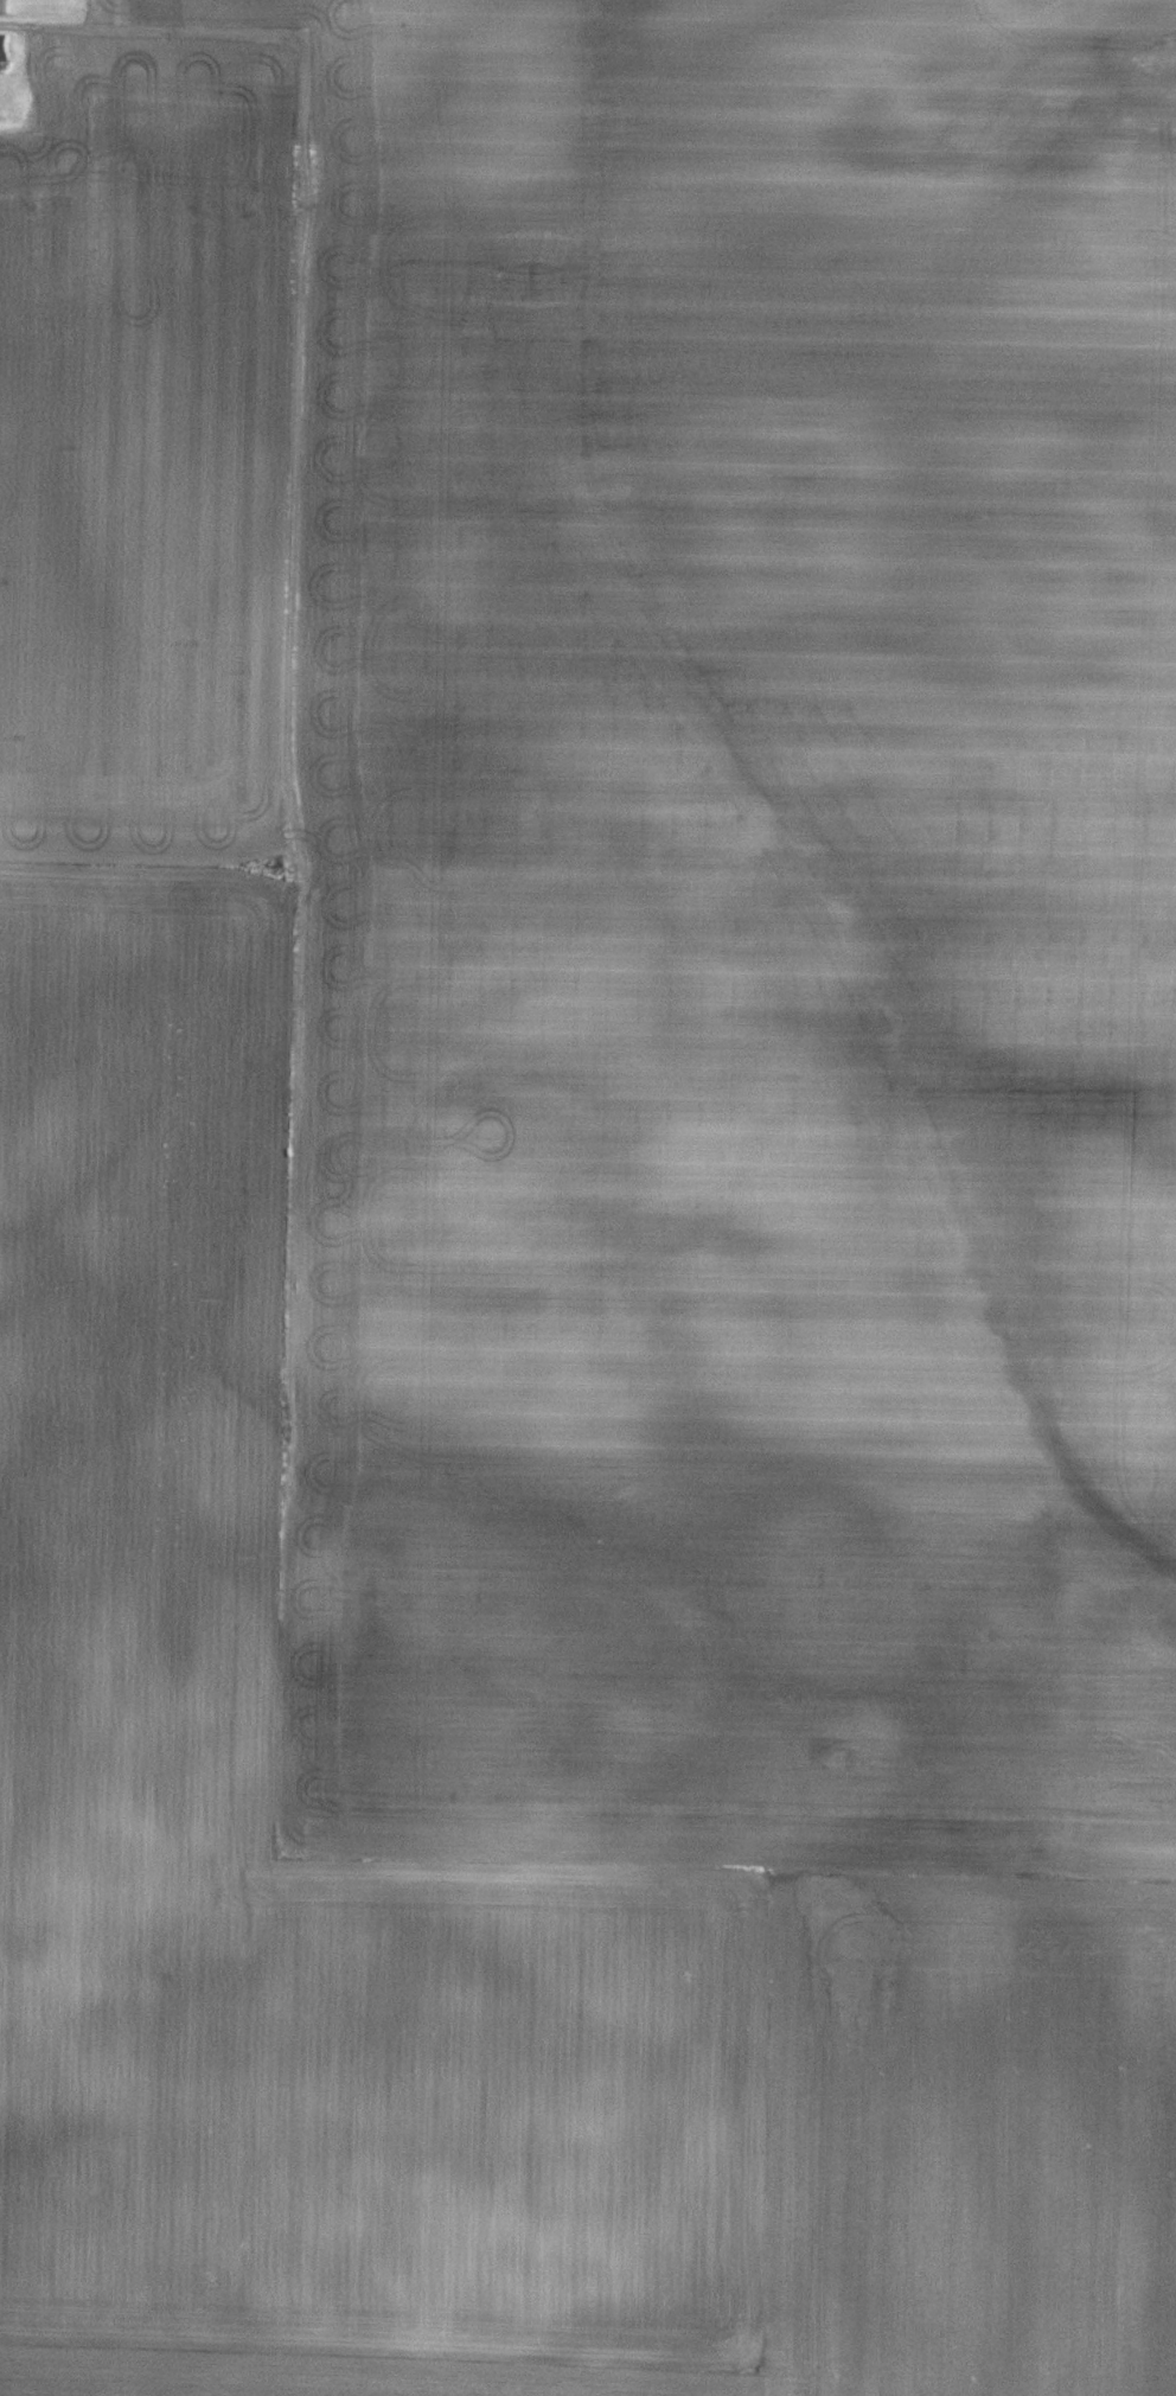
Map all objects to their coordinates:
building: (5, 6)
building: (7, 45)

